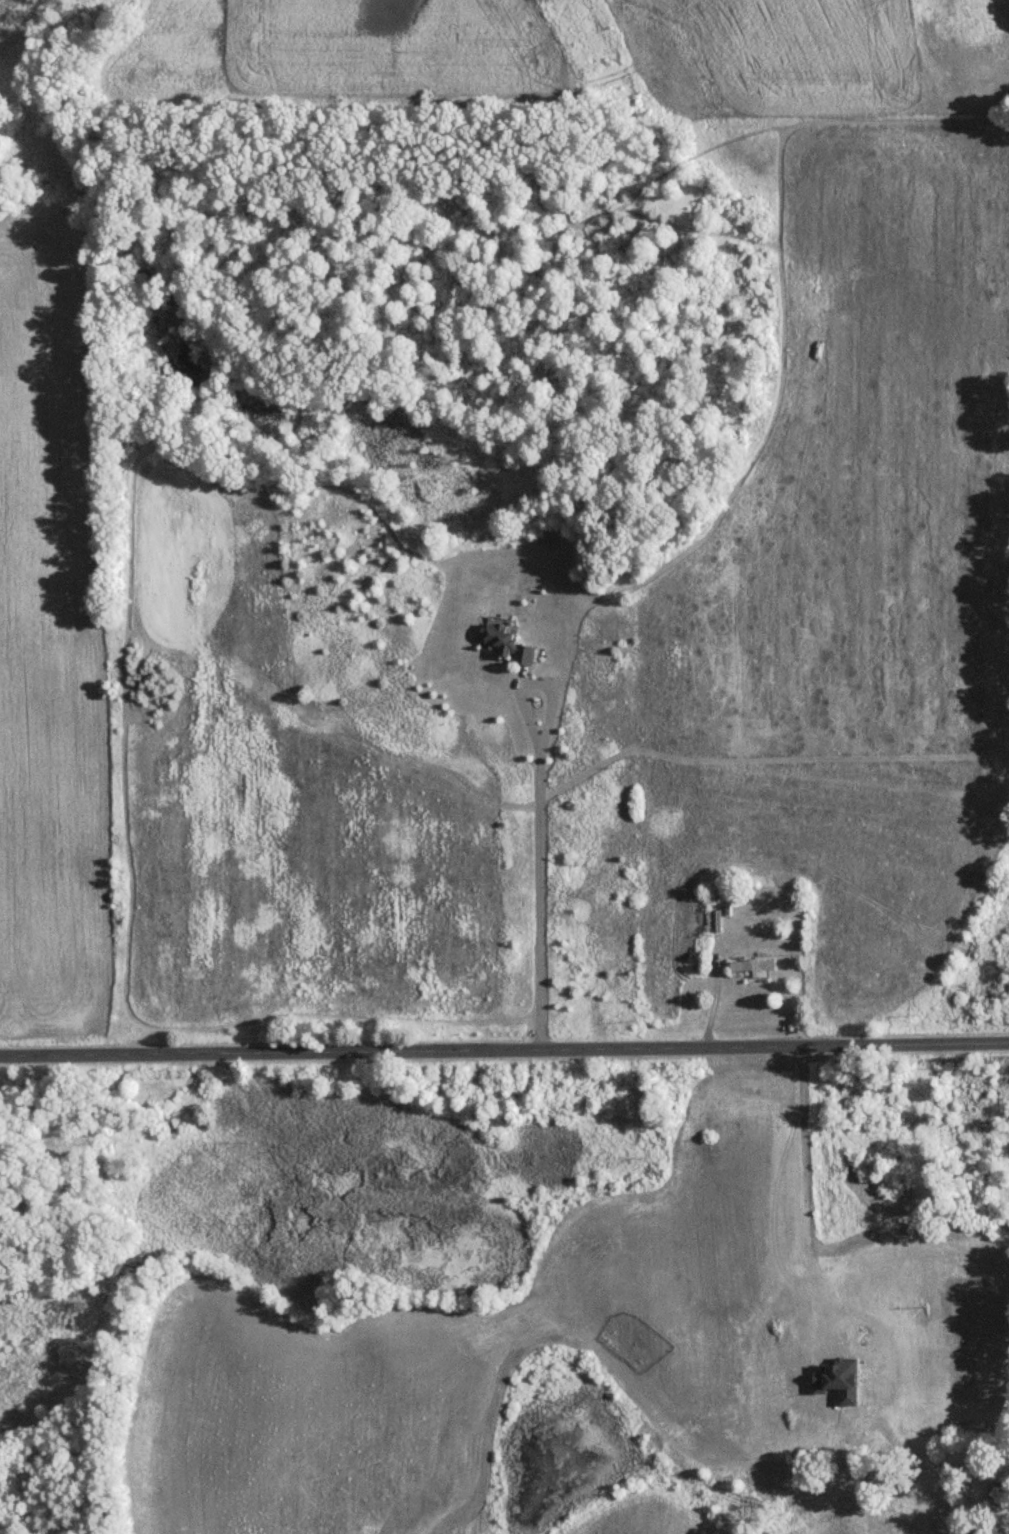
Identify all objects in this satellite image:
building: (508, 644)
road: (535, 815)
building: (754, 967)
road: (714, 987)
road: (504, 1036)
road: (810, 1278)
building: (983, 1498)
building: (906, 1509)

